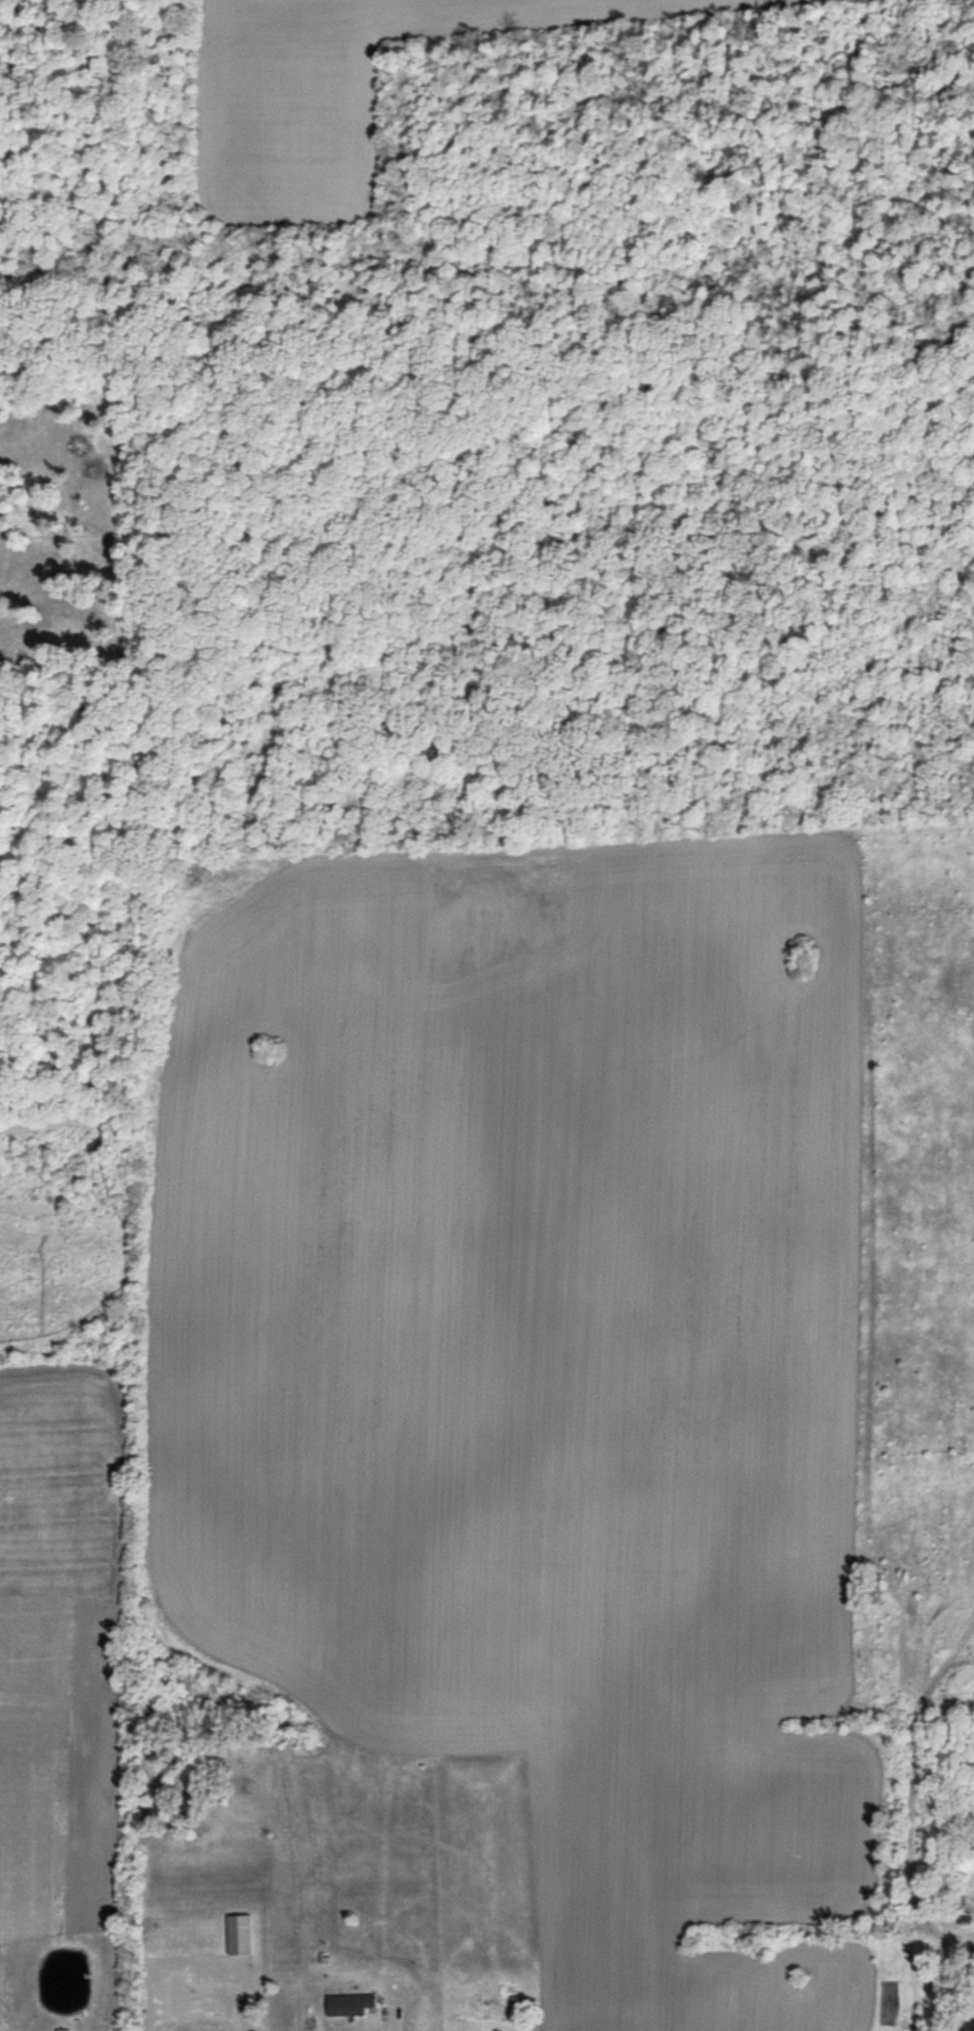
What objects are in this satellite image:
building: (239, 1934)
building: (350, 2004)
road: (386, 2019)
road: (220, 2020)
building: (971, 2025)

